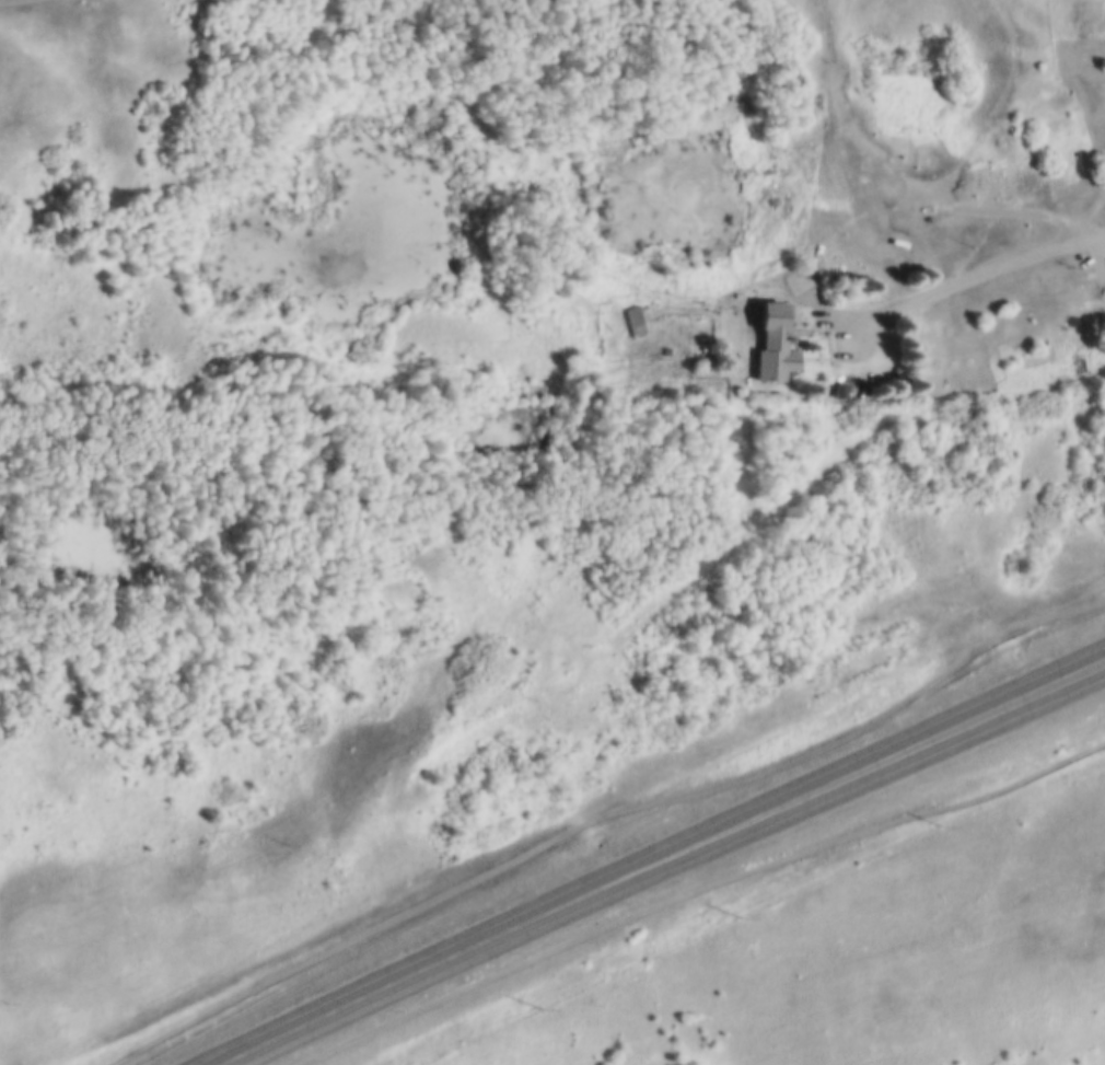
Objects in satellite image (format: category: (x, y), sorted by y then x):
building: (876, 205)
building: (801, 243)
road: (966, 276)
building: (995, 296)
building: (636, 317)
building: (770, 339)
building: (838, 387)
road: (998, 705)
road: (556, 906)

